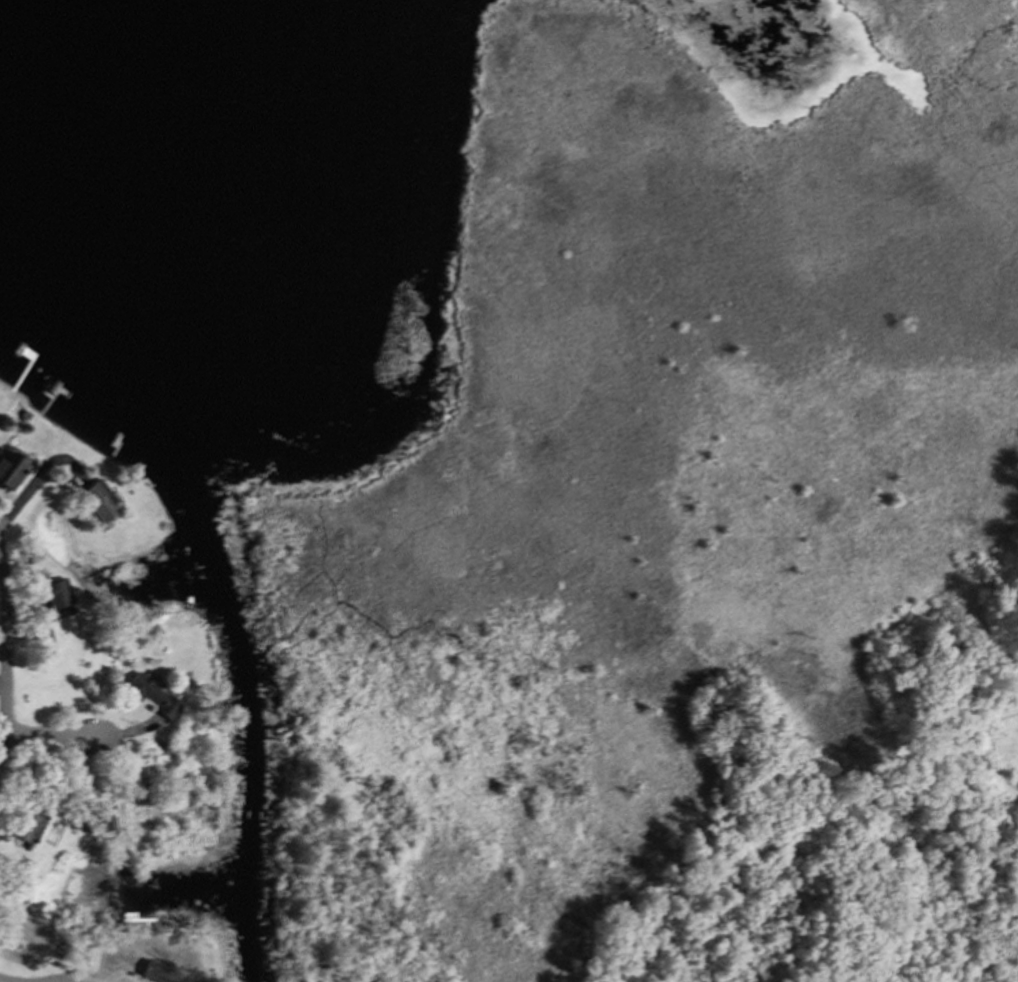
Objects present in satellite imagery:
building: (30, 420)
road: (69, 467)
building: (12, 474)
park: (683, 492)
road: (20, 498)
building: (96, 498)
building: (54, 595)
road: (3, 663)
building: (149, 694)
road: (47, 734)
road: (991, 748)
building: (62, 804)
building: (102, 817)
building: (24, 824)
building: (12, 865)
building: (121, 957)
building: (158, 971)
road: (1, 981)
building: (140, 981)

